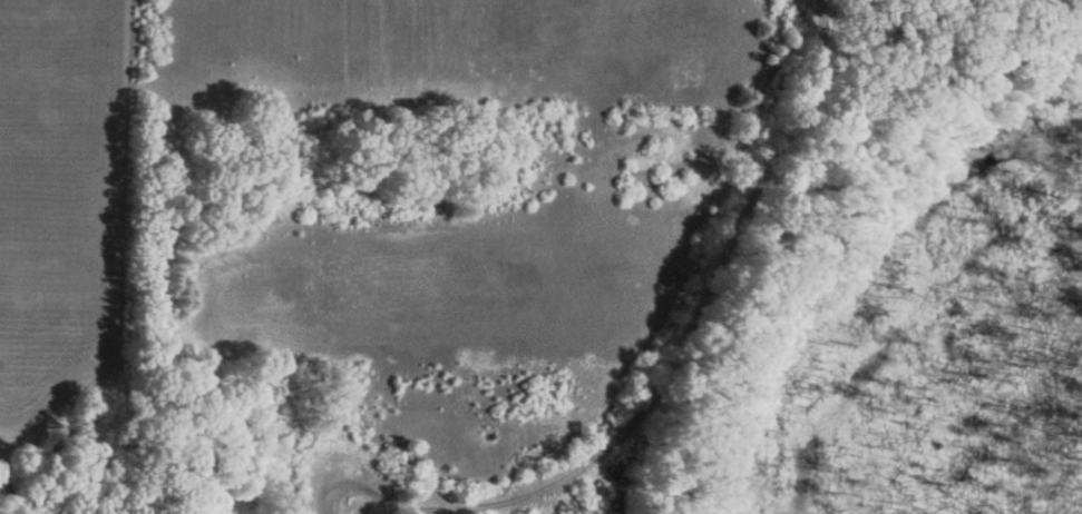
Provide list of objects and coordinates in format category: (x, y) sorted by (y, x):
road: (684, 328)
road: (362, 488)

